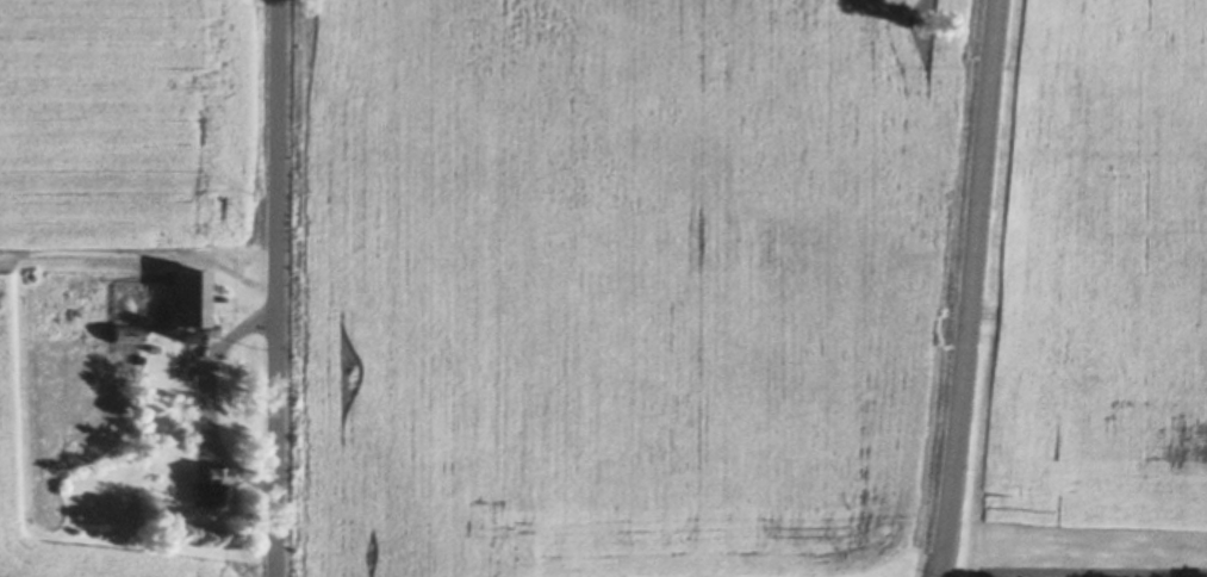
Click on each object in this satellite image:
crop: (107, 206)
crop: (618, 280)
road: (279, 287)
road: (975, 288)
crop: (1099, 300)
building: (191, 303)
building: (126, 334)
building: (189, 337)
road: (205, 398)
building: (210, 486)

